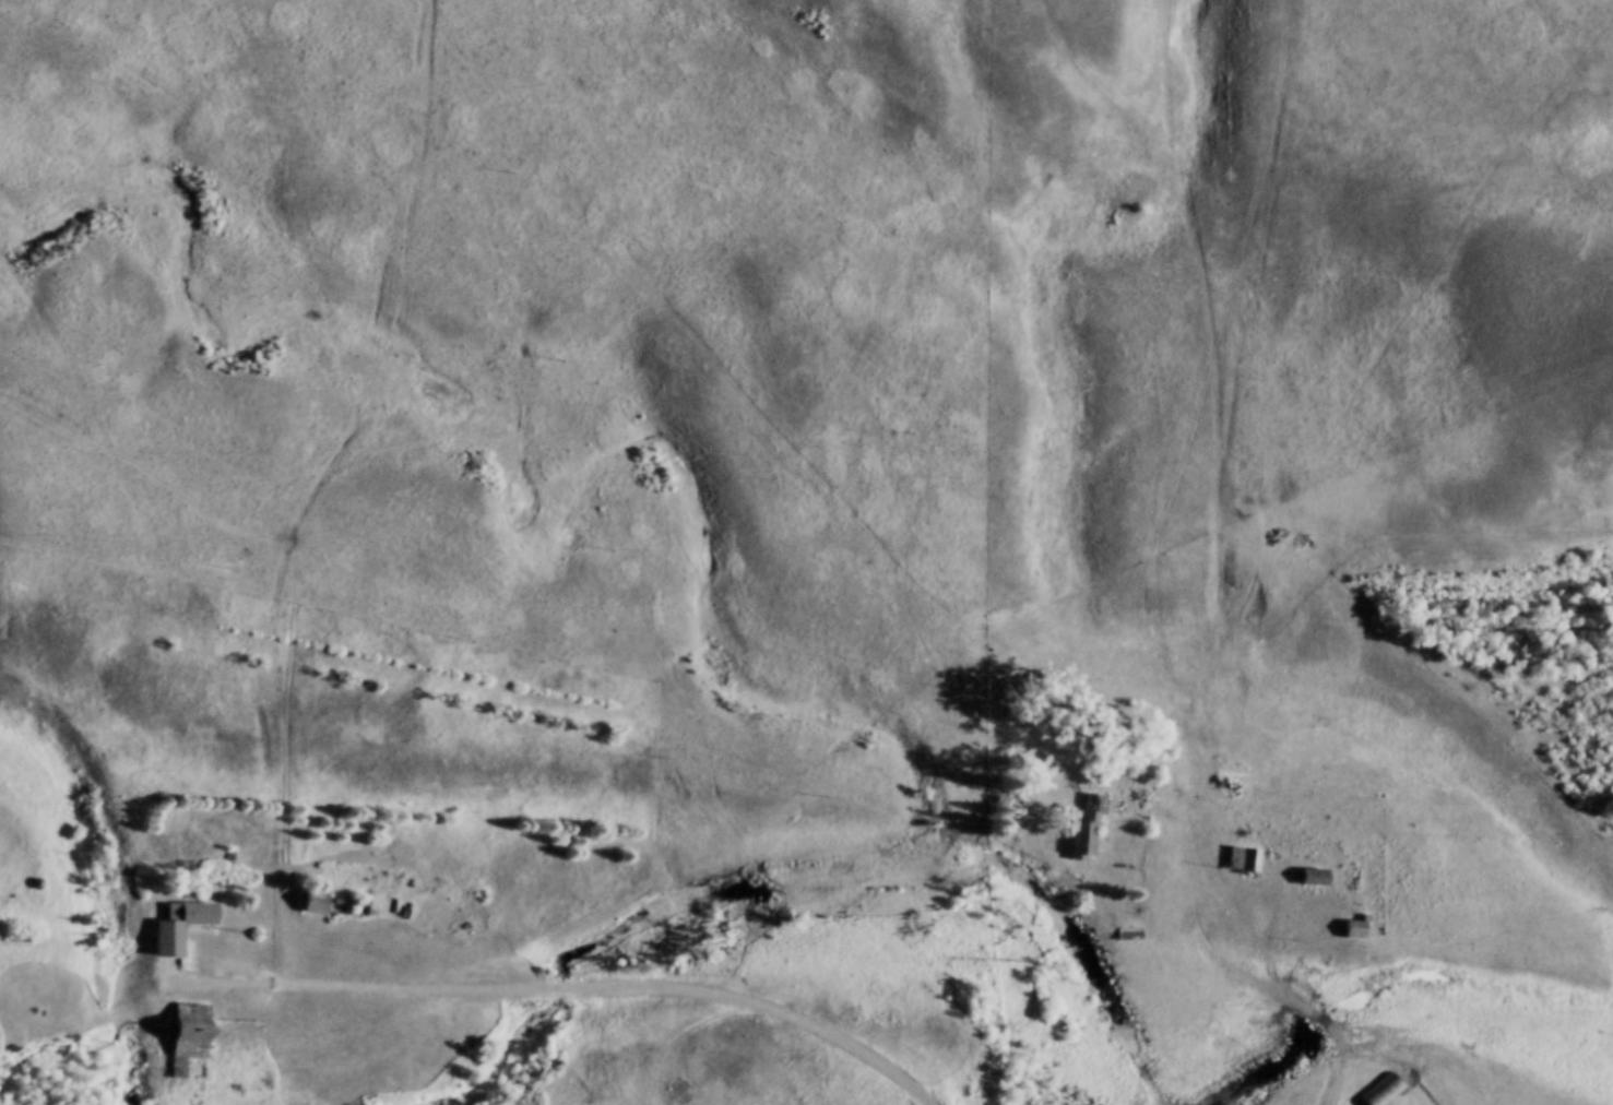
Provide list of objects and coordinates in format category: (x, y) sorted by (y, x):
building: (1084, 827)
building: (1244, 858)
building: (1313, 876)
building: (317, 901)
building: (183, 926)
road: (562, 989)
road: (1274, 994)
building: (188, 1037)
building: (1384, 1092)

